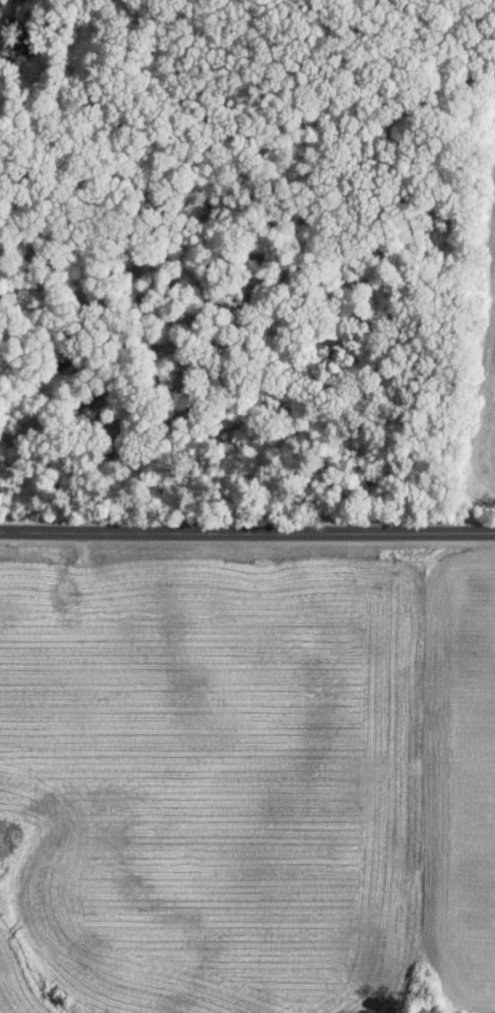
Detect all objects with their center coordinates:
road: (247, 529)

